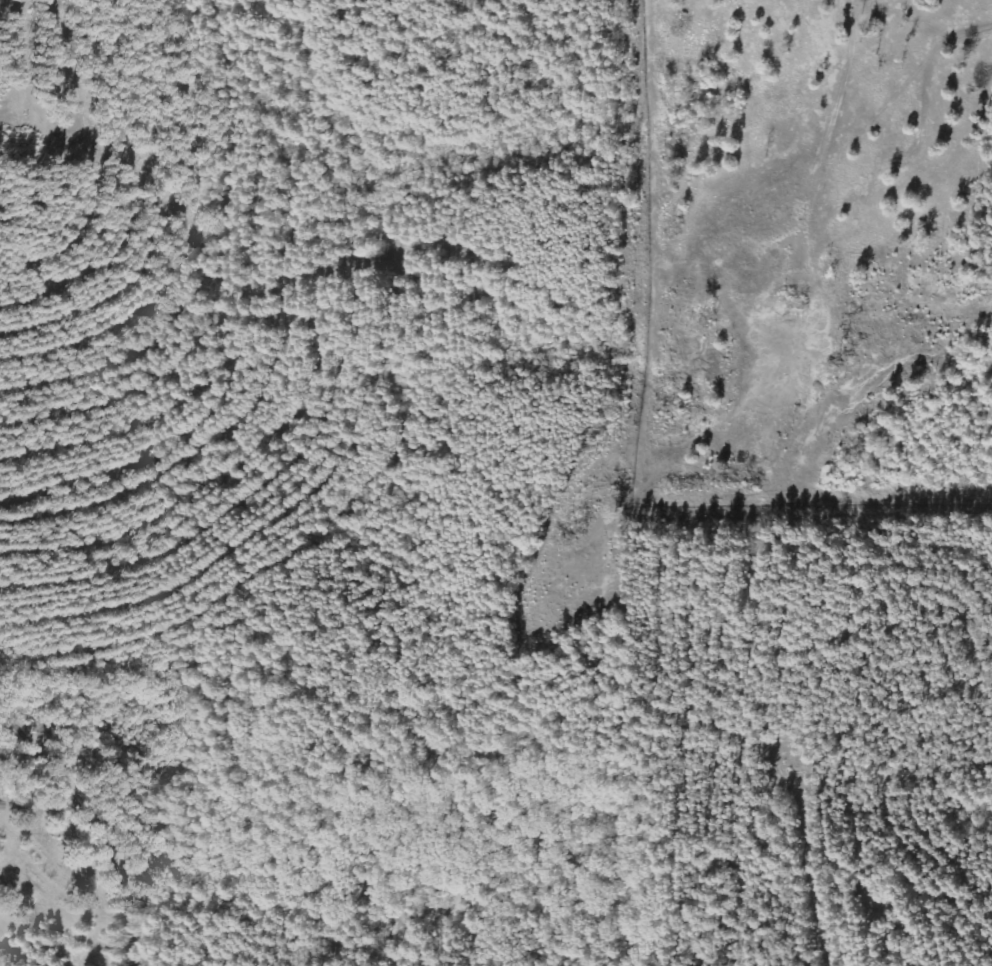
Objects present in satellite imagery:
road: (95, 823)

